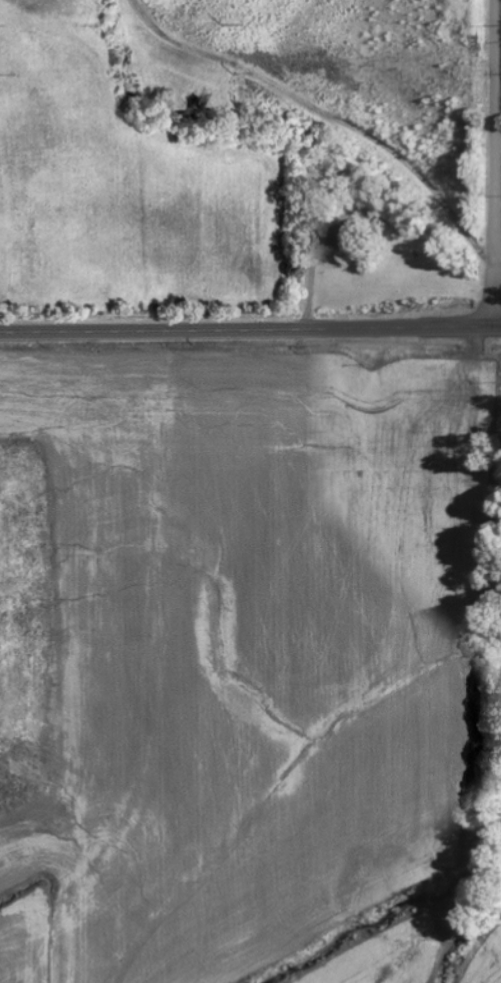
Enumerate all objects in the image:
road: (492, 162)
building: (330, 236)
road: (250, 328)

